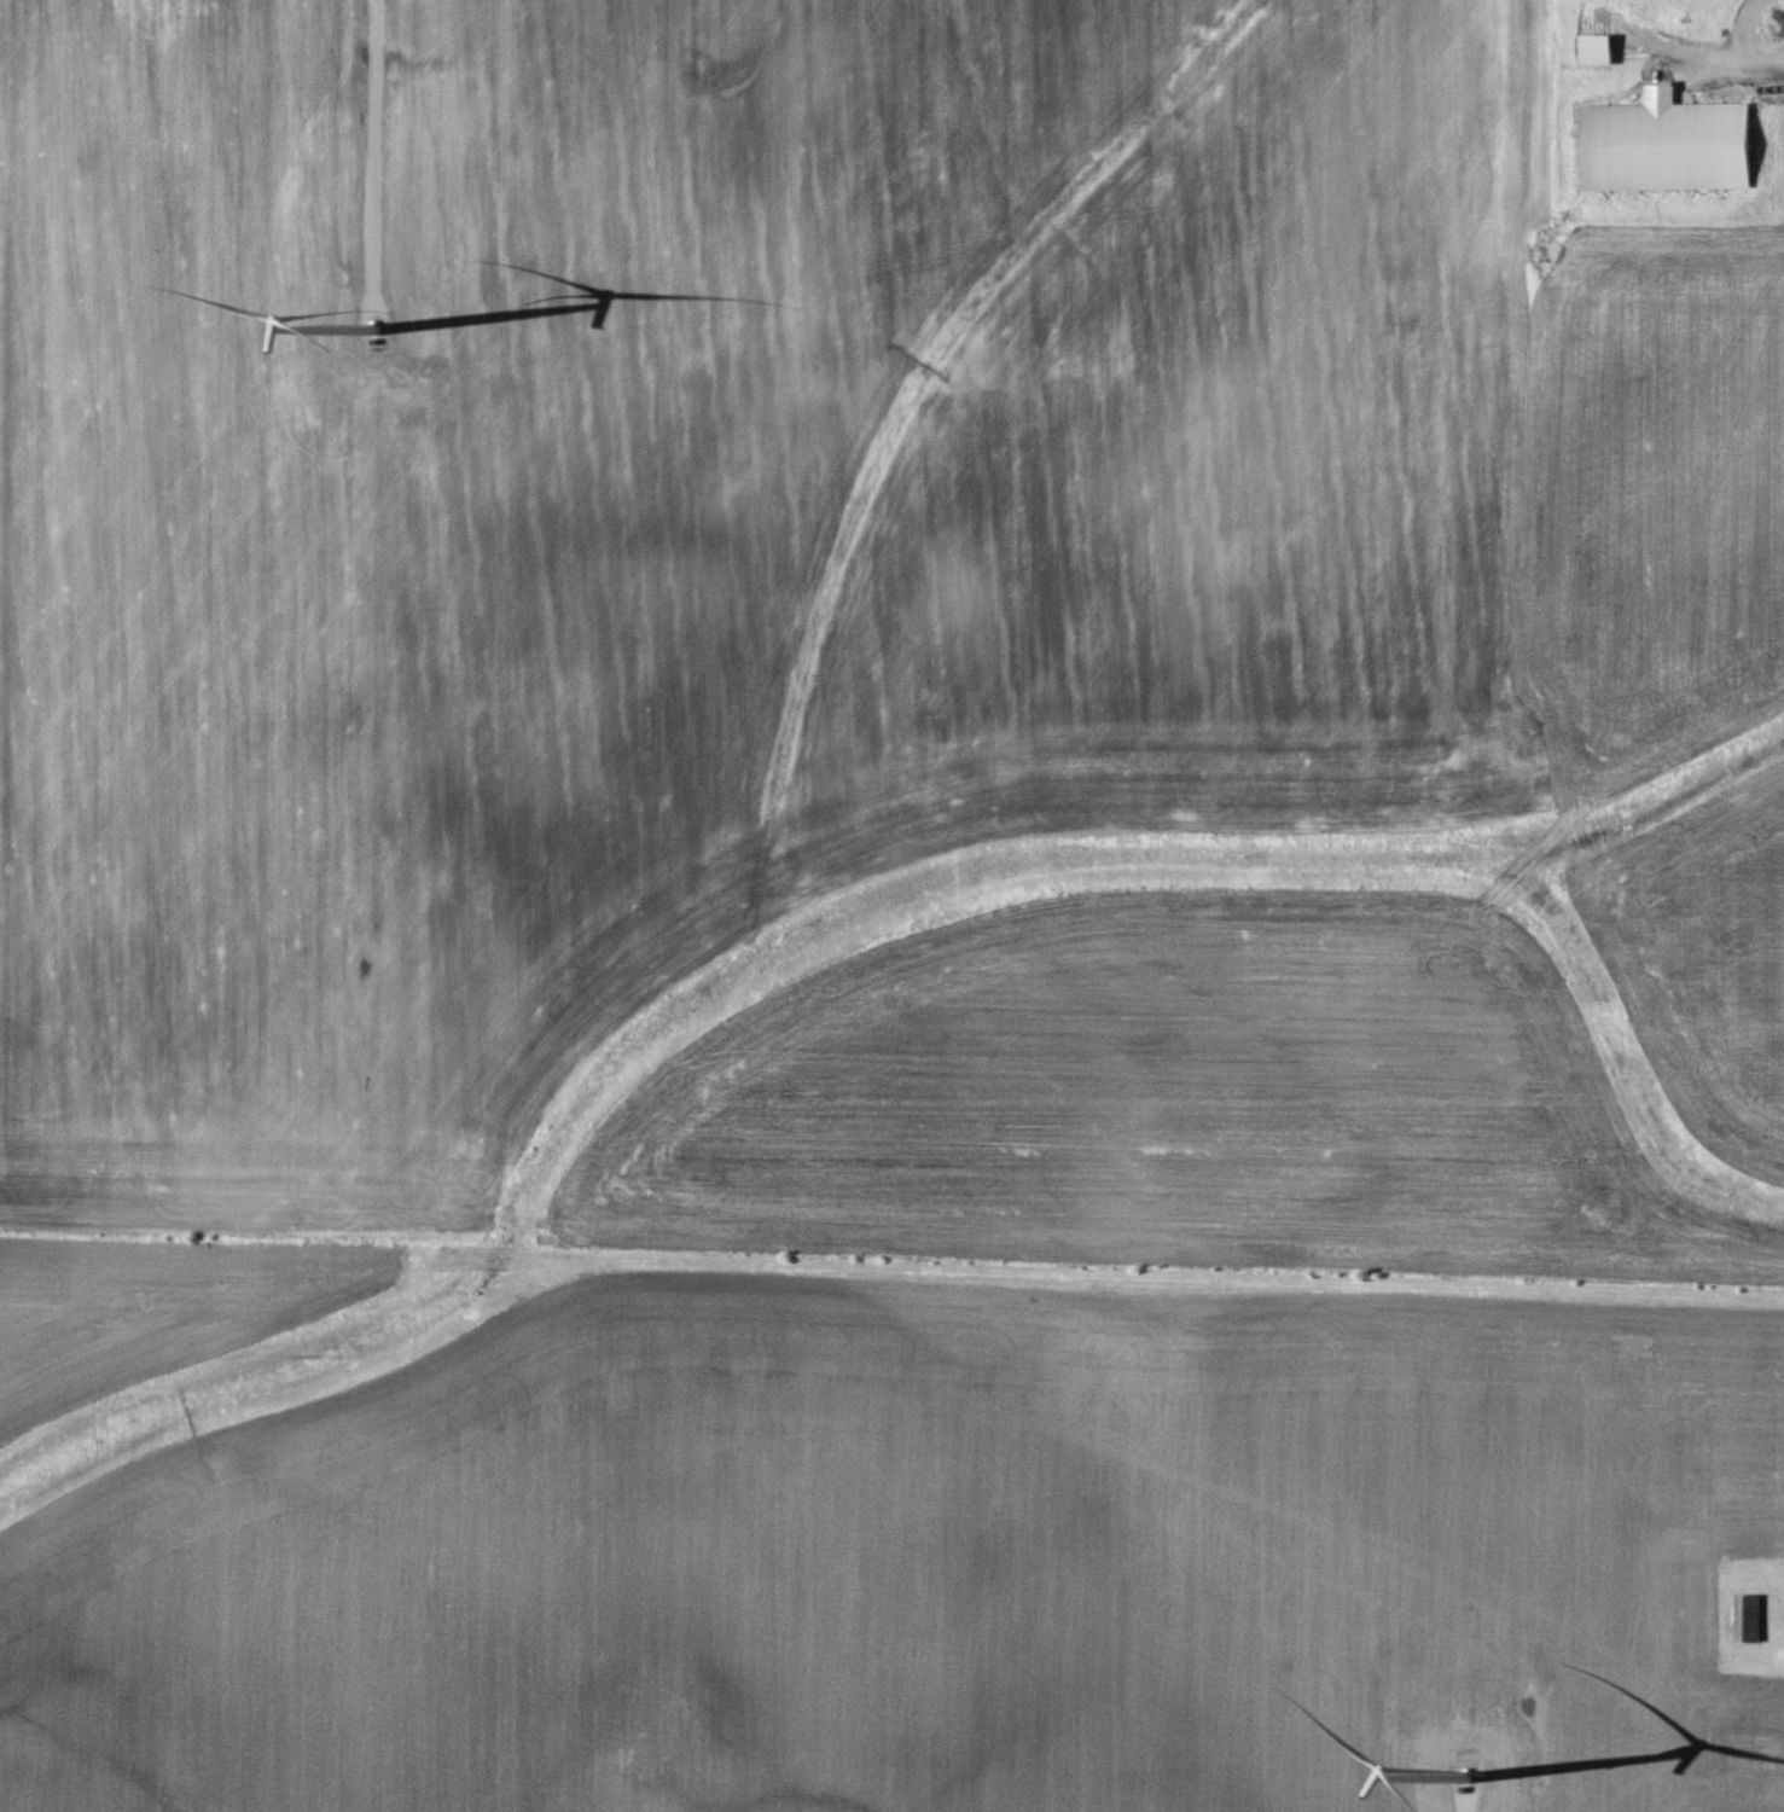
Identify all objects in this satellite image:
road: (377, 155)
wind turbine: (377, 333)
wind turbine: (1471, 1789)

